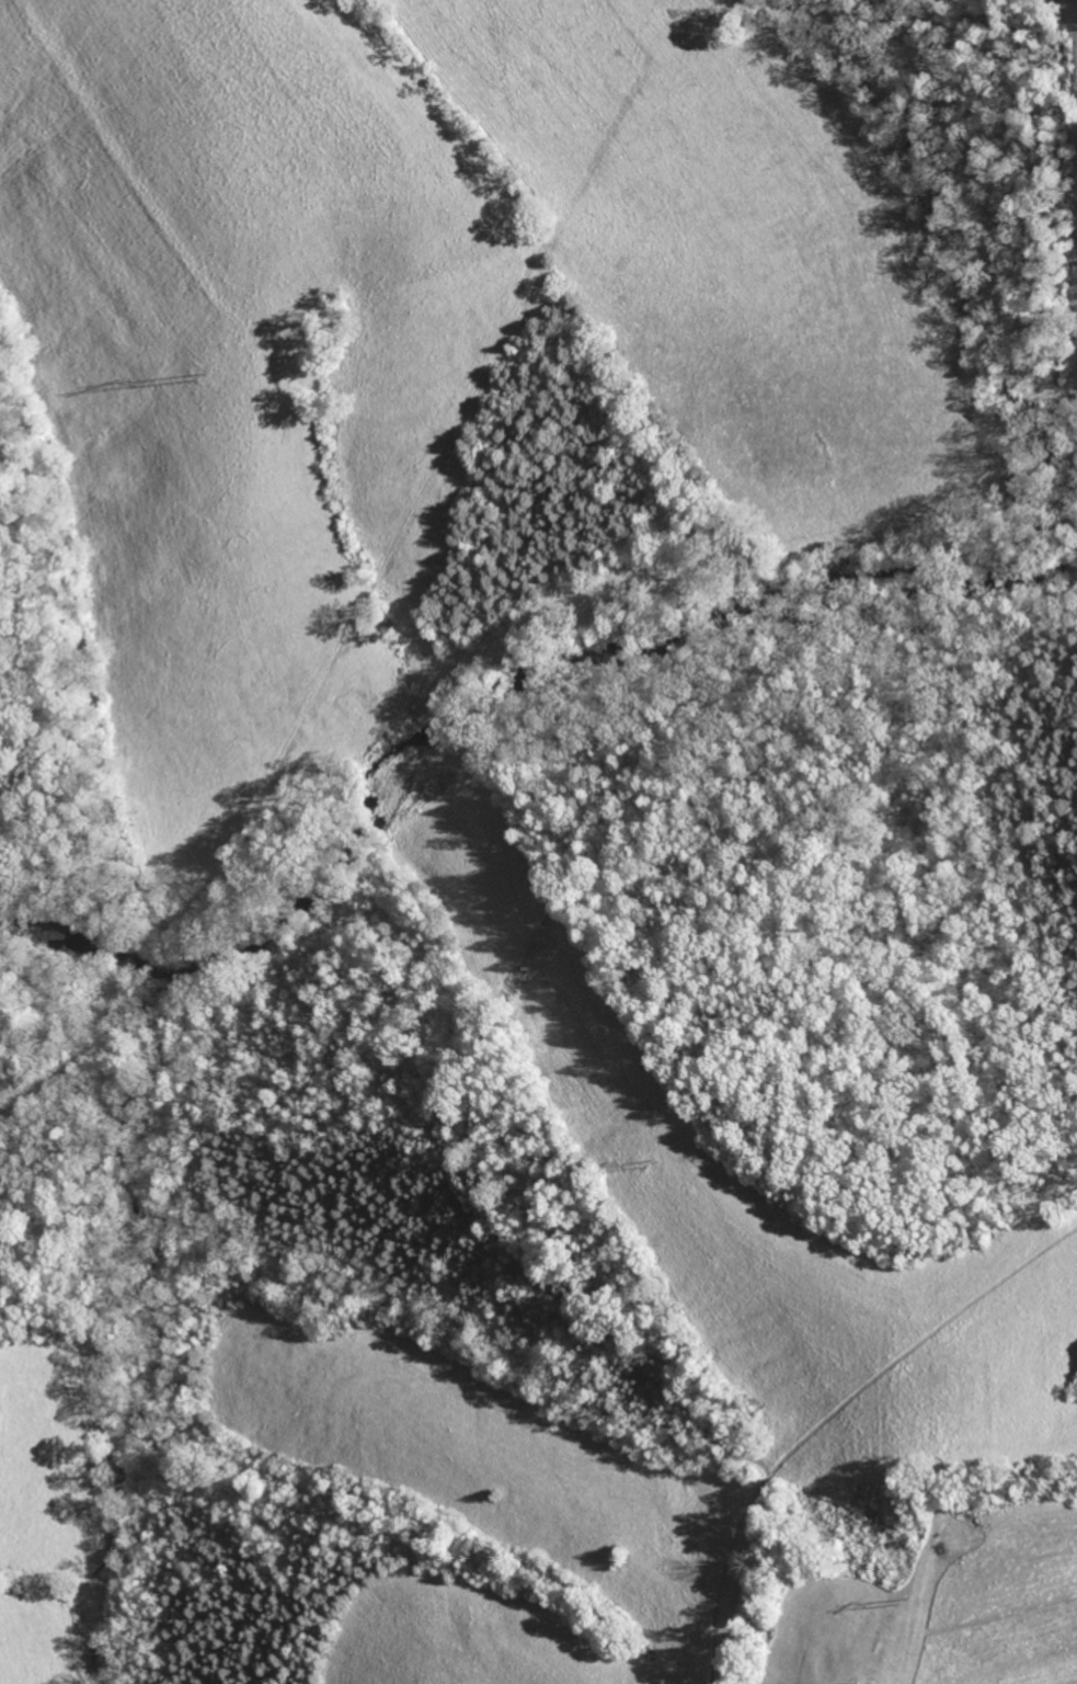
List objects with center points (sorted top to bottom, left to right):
power tower: (198, 372)
power tower: (655, 1160)
power tower: (906, 1595)
building: (855, 1683)

